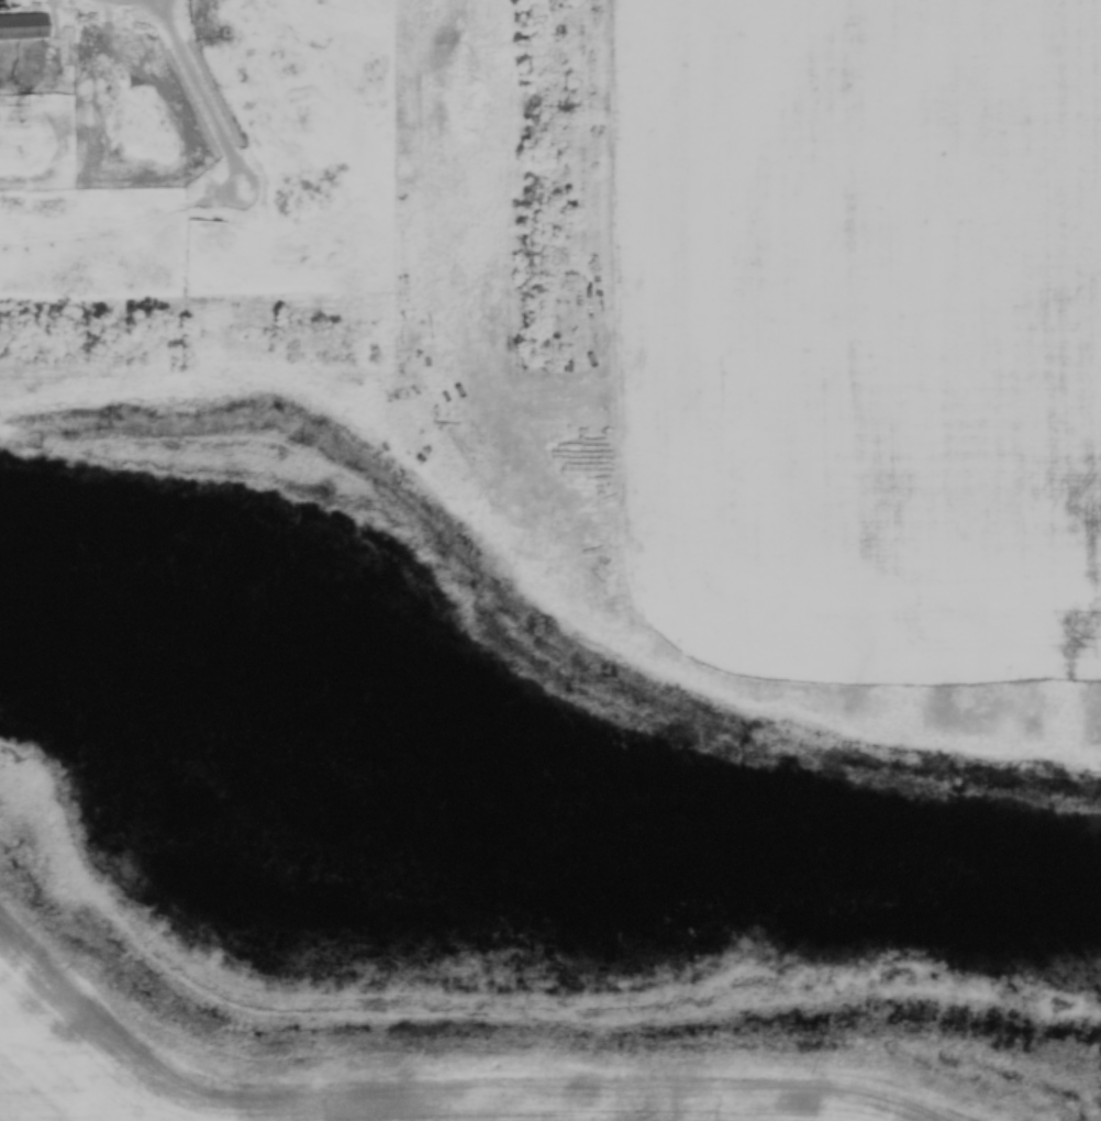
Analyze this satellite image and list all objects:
building: (23, 26)

